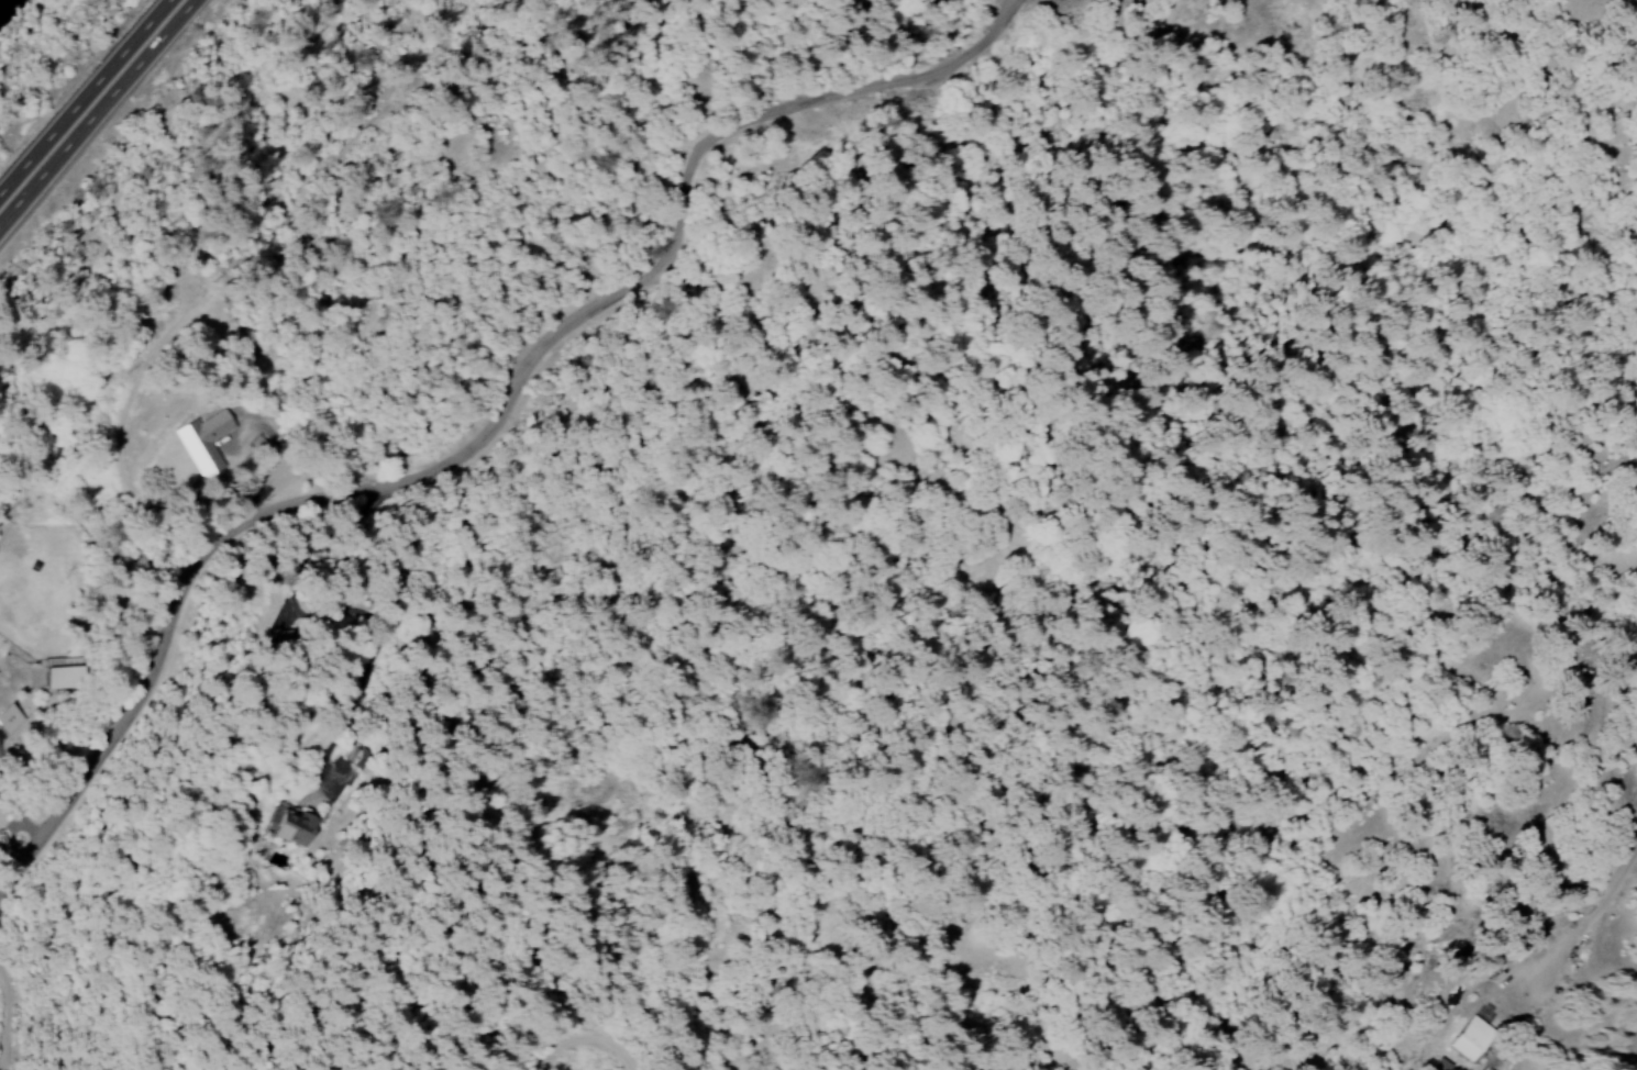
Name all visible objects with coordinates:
road: (91, 105)
road: (494, 426)
building: (203, 441)
building: (58, 672)
building: (9, 718)
road: (832, 738)
building: (289, 826)
building: (12, 832)
building: (1476, 1036)

